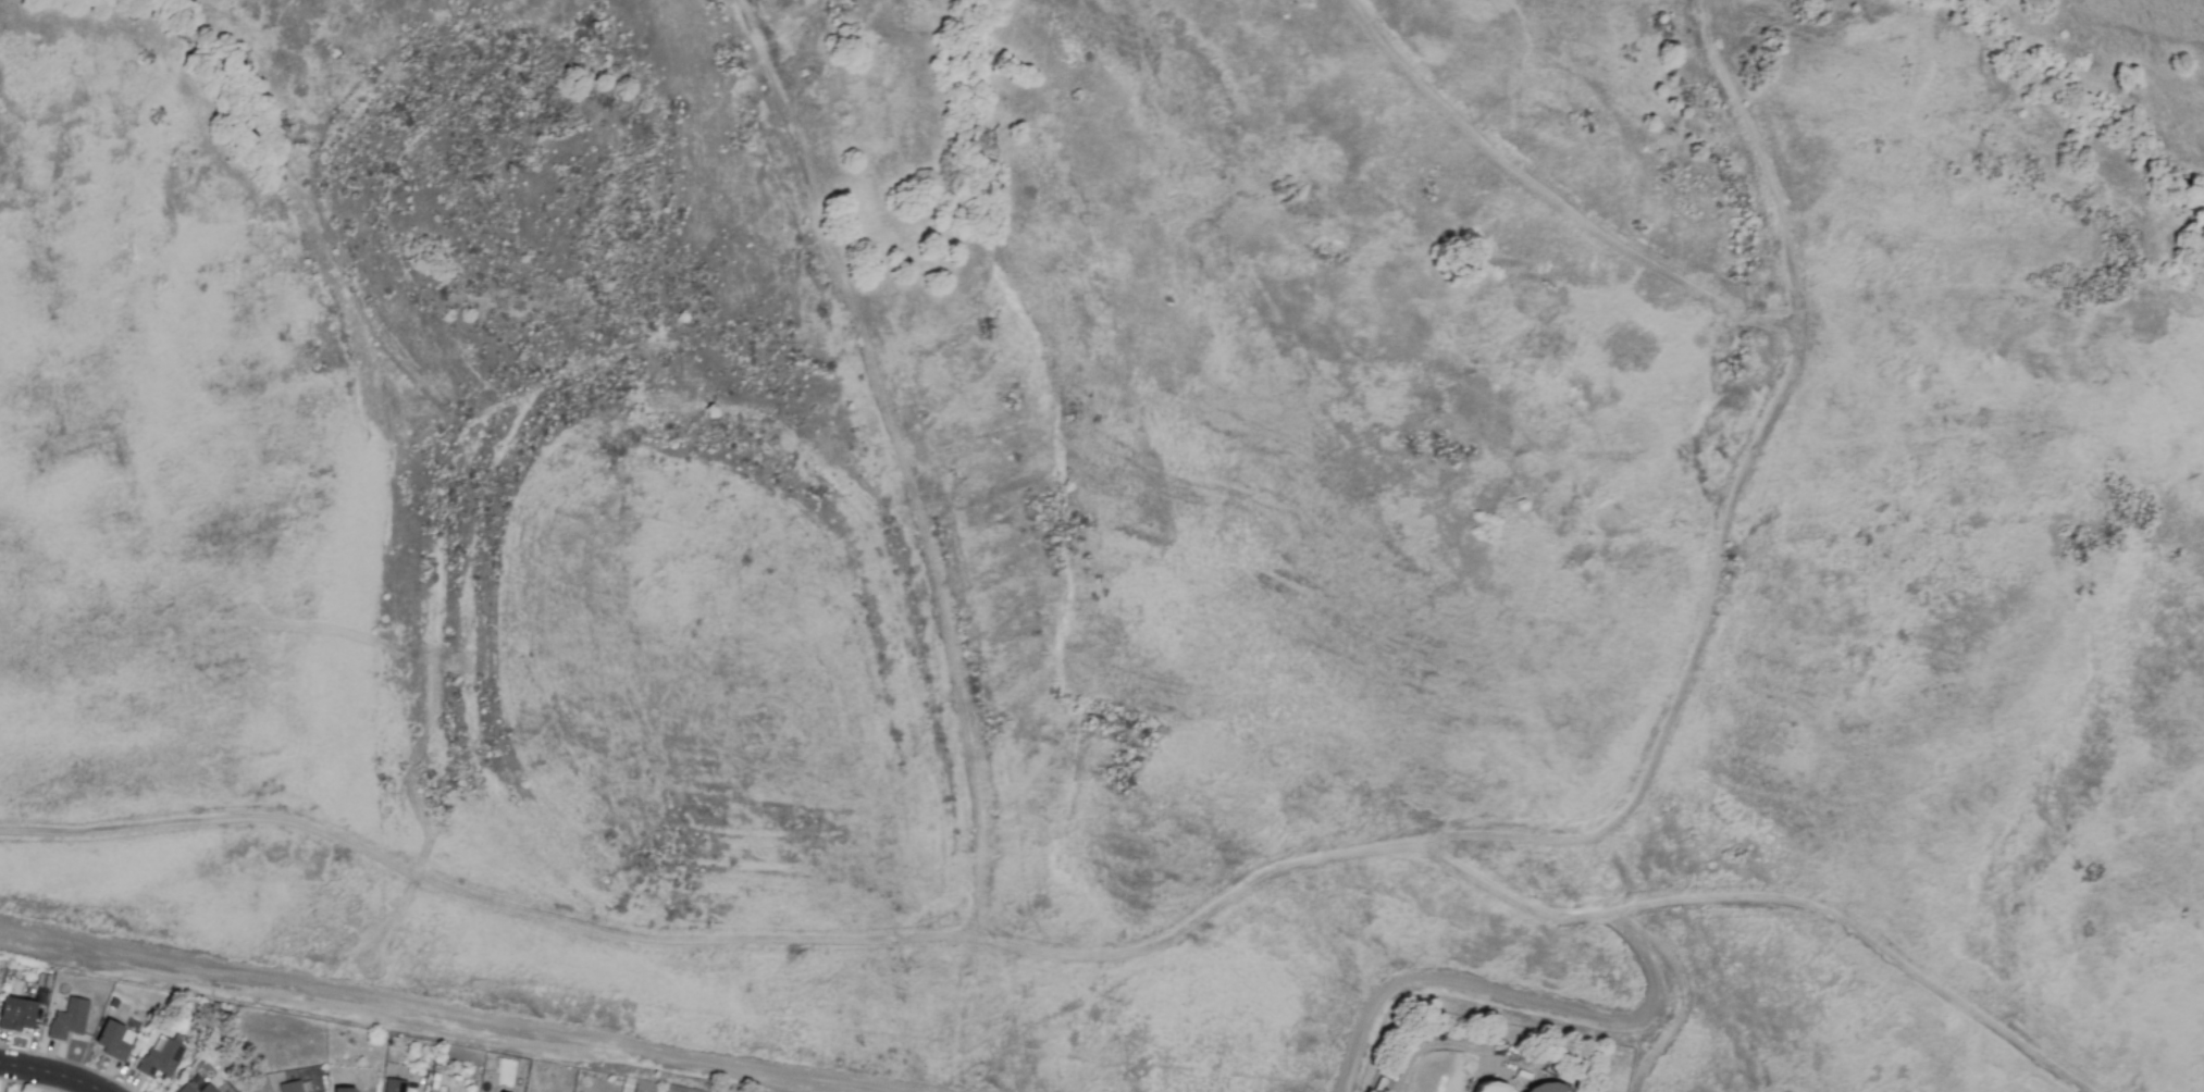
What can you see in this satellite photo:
road: (1550, 198)
road: (897, 457)
road: (1702, 634)
road: (721, 941)
road: (1870, 941)
road: (1672, 965)
road: (1488, 993)
building: (16, 1014)
road: (419, 1016)
building: (69, 1019)
building: (113, 1040)
road: (1453, 1045)
building: (161, 1056)
road: (1654, 1063)
building: (1447, 1072)
storage tank: (1447, 1072)
road: (49, 1074)
street lamp: (122, 1080)
building: (395, 1085)
building: (290, 1087)
building: (642, 1087)
building: (1550, 1088)
storage tank: (1550, 1088)
building: (343, 1090)

